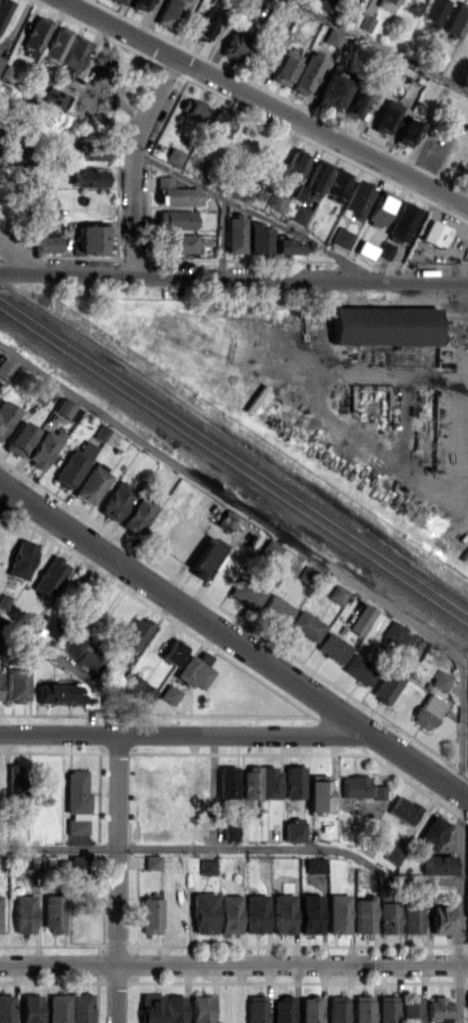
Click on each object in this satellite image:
building: (302, 0)
building: (119, 1)
building: (140, 4)
building: (386, 4)
building: (325, 5)
building: (412, 6)
building: (3, 10)
building: (433, 12)
building: (170, 13)
building: (457, 19)
building: (366, 23)
building: (202, 28)
building: (35, 34)
building: (331, 36)
building: (57, 44)
road: (379, 45)
building: (234, 46)
building: (75, 52)
building: (1, 59)
building: (263, 59)
building: (284, 67)
building: (6, 72)
building: (305, 74)
building: (334, 90)
building: (56, 98)
road: (264, 103)
building: (354, 105)
building: (190, 108)
building: (386, 116)
building: (216, 125)
building: (407, 132)
building: (92, 151)
building: (173, 156)
road: (133, 161)
building: (293, 167)
building: (88, 177)
road: (191, 179)
building: (311, 183)
building: (336, 185)
building: (174, 193)
building: (357, 199)
building: (276, 201)
building: (381, 208)
building: (299, 214)
building: (175, 219)
building: (403, 221)
building: (234, 233)
building: (435, 233)
building: (342, 237)
building: (92, 238)
building: (259, 238)
building: (45, 241)
building: (178, 243)
building: (288, 245)
building: (366, 249)
building: (384, 251)
road: (23, 258)
road: (234, 277)
building: (384, 325)
building: (6, 369)
road: (410, 375)
building: (41, 393)
building: (64, 408)
building: (74, 414)
building: (6, 415)
building: (101, 432)
building: (19, 438)
building: (44, 448)
railway: (234, 456)
building: (73, 465)
railway: (234, 467)
building: (92, 484)
building: (117, 500)
road: (13, 501)
building: (138, 515)
building: (227, 520)
building: (270, 549)
building: (205, 556)
building: (21, 559)
building: (307, 573)
building: (49, 576)
building: (246, 593)
building: (337, 594)
building: (4, 601)
road: (381, 602)
building: (276, 609)
building: (361, 619)
building: (306, 625)
building: (50, 626)
building: (393, 631)
building: (136, 633)
building: (408, 640)
road: (233, 641)
building: (74, 644)
building: (333, 647)
building: (173, 652)
building: (90, 660)
building: (359, 668)
building: (195, 671)
road: (86, 676)
building: (441, 680)
building: (17, 684)
building: (387, 685)
building: (138, 687)
building: (0, 690)
building: (58, 693)
building: (170, 694)
building: (428, 711)
road: (185, 734)
building: (15, 780)
building: (228, 782)
building: (261, 782)
building: (293, 782)
building: (355, 786)
road: (212, 791)
building: (379, 791)
building: (318, 792)
building: (76, 801)
building: (403, 810)
building: (293, 830)
building: (231, 832)
building: (433, 832)
road: (233, 849)
building: (393, 854)
building: (153, 862)
building: (78, 864)
building: (437, 864)
building: (314, 865)
building: (208, 866)
road: (117, 878)
building: (467, 897)
building: (53, 912)
building: (24, 913)
building: (204, 913)
building: (230, 913)
building: (256, 913)
building: (283, 913)
building: (311, 913)
building: (338, 913)
building: (151, 915)
building: (365, 915)
building: (388, 917)
building: (412, 917)
building: (441, 919)
road: (233, 964)
building: (467, 998)
building: (6, 1008)
building: (31, 1008)
building: (70, 1008)
building: (152, 1008)
building: (201, 1008)
building: (175, 1009)
building: (256, 1009)
building: (283, 1009)
building: (311, 1009)
building: (337, 1009)
building: (363, 1009)
building: (386, 1009)
building: (411, 1009)
building: (438, 1009)

